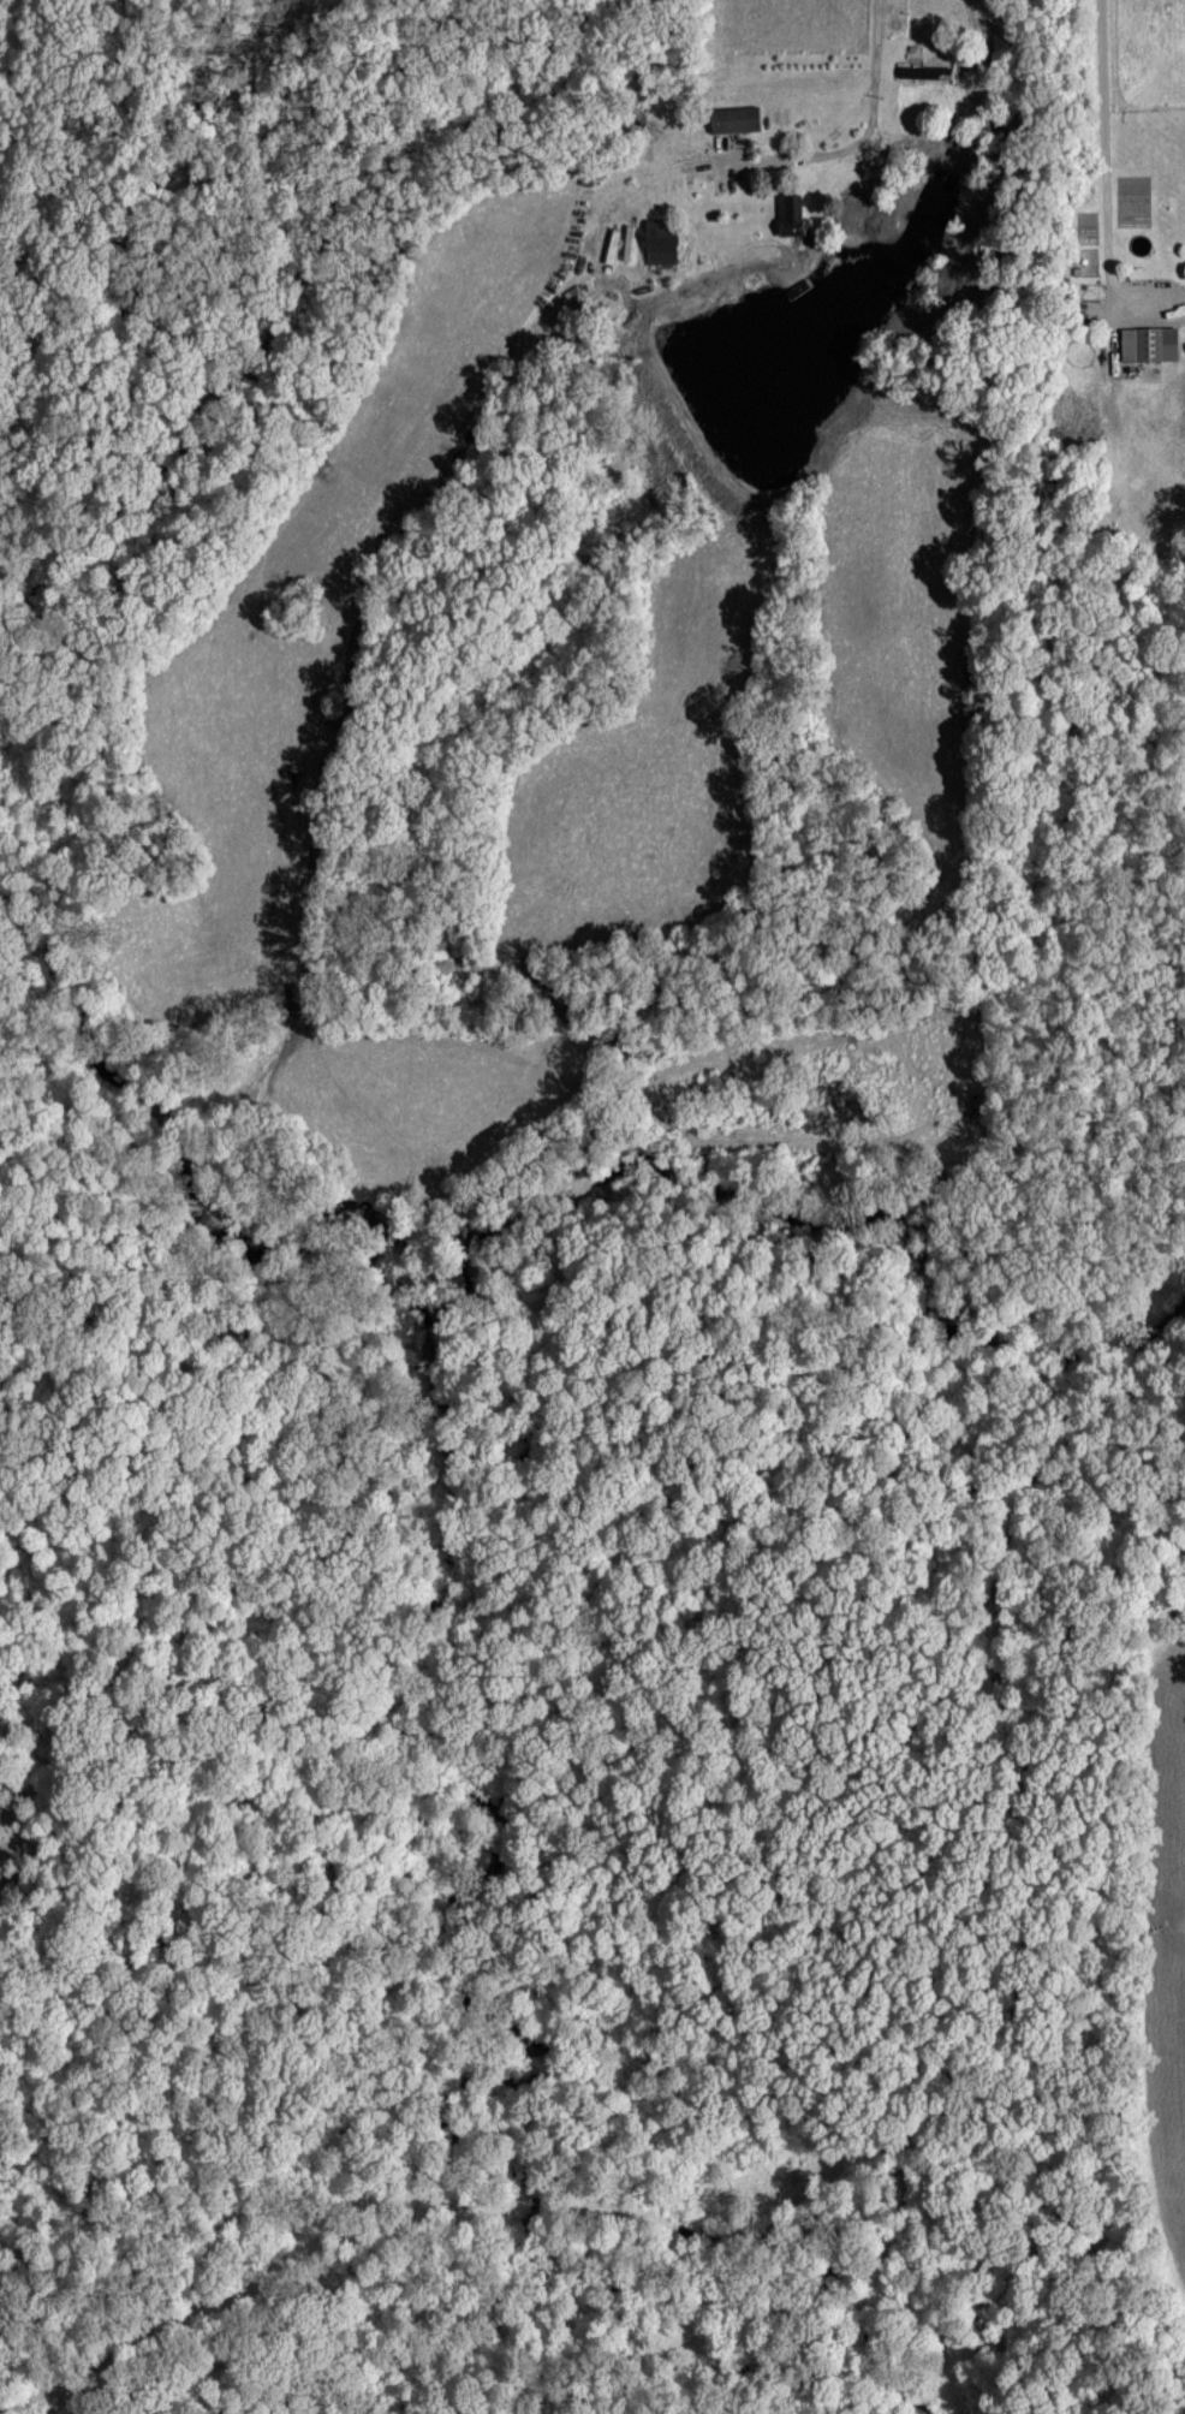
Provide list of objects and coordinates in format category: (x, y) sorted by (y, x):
building: (924, 71)
building: (733, 118)
road: (828, 147)
road: (1106, 171)
building: (788, 213)
building: (660, 240)
building: (1148, 343)

